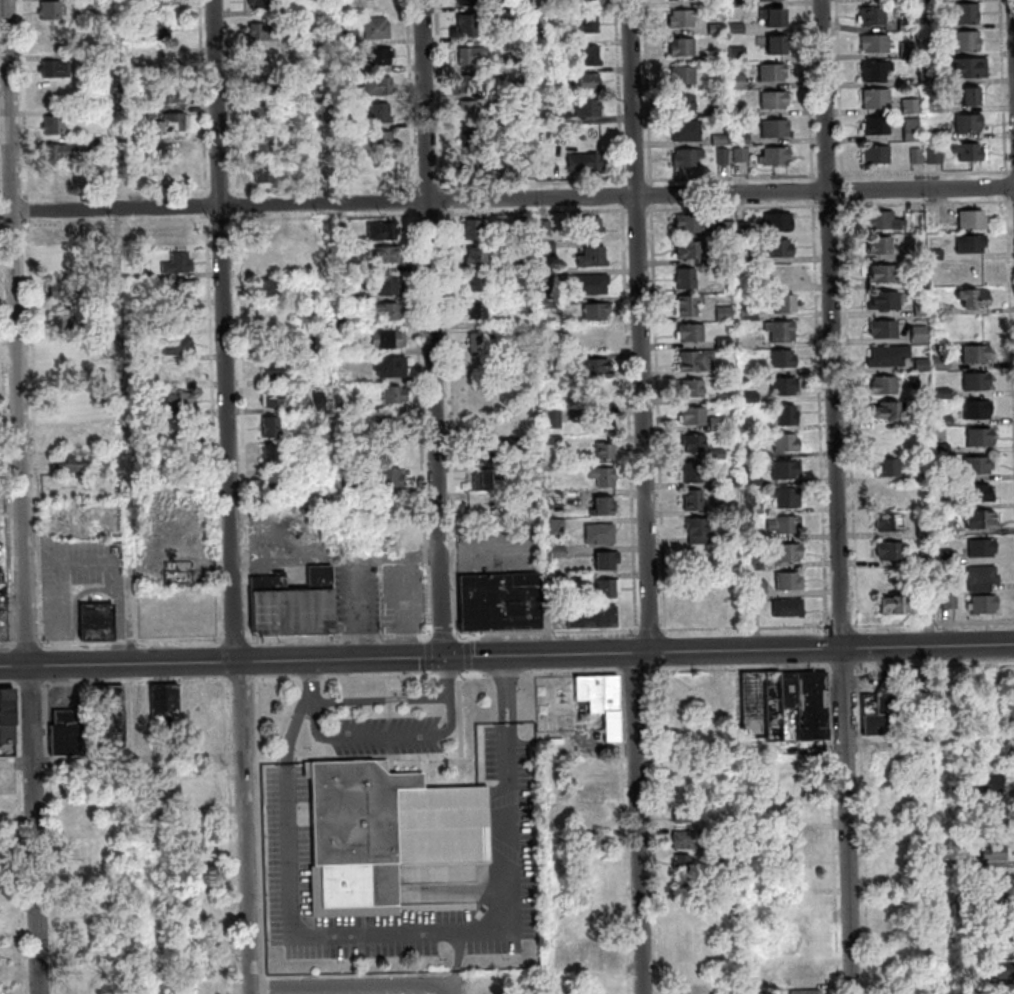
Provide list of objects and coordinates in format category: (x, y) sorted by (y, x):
building: (682, 1)
building: (773, 1)
building: (908, 1)
building: (934, 1)
building: (719, 3)
building: (469, 4)
building: (591, 4)
building: (737, 4)
building: (258, 5)
building: (52, 13)
building: (966, 16)
building: (874, 19)
building: (685, 20)
building: (775, 20)
building: (930, 24)
building: (592, 26)
building: (909, 26)
building: (469, 28)
building: (738, 29)
building: (379, 30)
building: (719, 30)
building: (157, 32)
building: (265, 34)
building: (353, 38)
building: (308, 39)
building: (50, 40)
building: (968, 43)
building: (876, 46)
building: (561, 47)
building: (776, 47)
building: (684, 49)
building: (909, 50)
building: (935, 52)
building: (740, 54)
building: (592, 57)
building: (711, 57)
building: (474, 58)
building: (127, 59)
building: (382, 59)
building: (264, 60)
building: (97, 61)
building: (515, 62)
building: (167, 64)
building: (58, 71)
building: (971, 71)
building: (877, 73)
building: (776, 75)
building: (935, 75)
building: (685, 78)
building: (911, 79)
building: (591, 83)
building: (739, 83)
building: (475, 85)
building: (267, 89)
building: (381, 90)
building: (173, 97)
building: (878, 101)
building: (972, 101)
building: (777, 102)
building: (687, 105)
building: (936, 107)
building: (912, 108)
building: (589, 110)
building: (472, 111)
building: (719, 112)
building: (740, 112)
building: (148, 114)
building: (382, 116)
building: (264, 117)
building: (566, 118)
building: (175, 125)
building: (970, 125)
building: (296, 127)
building: (56, 128)
building: (878, 129)
building: (777, 131)
building: (913, 131)
building: (687, 133)
building: (944, 136)
building: (471, 139)
building: (721, 140)
building: (744, 141)
building: (383, 142)
building: (102, 145)
building: (264, 145)
building: (62, 155)
building: (972, 155)
building: (742, 156)
building: (918, 157)
building: (937, 157)
building: (724, 158)
building: (877, 158)
building: (777, 159)
building: (689, 160)
building: (588, 164)
building: (477, 170)
building: (384, 173)
building: (522, 174)
building: (265, 175)
road: (506, 199)
building: (882, 218)
building: (972, 218)
building: (779, 221)
building: (918, 221)
building: (692, 223)
building: (522, 225)
building: (592, 225)
building: (546, 226)
building: (473, 227)
building: (724, 228)
building: (383, 229)
building: (744, 229)
building: (971, 242)
building: (881, 244)
building: (780, 246)
building: (548, 247)
building: (691, 248)
building: (388, 252)
building: (480, 253)
building: (936, 254)
building: (594, 255)
building: (748, 257)
building: (267, 258)
building: (178, 261)
building: (520, 261)
building: (68, 264)
building: (343, 267)
building: (314, 268)
building: (145, 272)
building: (884, 272)
building: (686, 277)
building: (549, 278)
building: (477, 281)
building: (592, 282)
building: (391, 284)
building: (268, 286)
building: (181, 287)
building: (64, 290)
building: (312, 294)
building: (974, 295)
building: (888, 299)
building: (550, 302)
building: (786, 304)
building: (688, 305)
building: (305, 308)
building: (478, 308)
building: (937, 308)
building: (390, 309)
building: (597, 309)
building: (921, 309)
building: (94, 312)
building: (724, 313)
building: (750, 314)
building: (345, 322)
building: (66, 324)
road: (641, 326)
road: (436, 328)
building: (885, 328)
building: (782, 331)
building: (691, 332)
building: (920, 334)
building: (385, 337)
building: (592, 338)
building: (94, 339)
building: (481, 340)
building: (302, 341)
building: (724, 342)
building: (179, 343)
building: (65, 349)
building: (349, 349)
building: (976, 353)
building: (889, 354)
building: (783, 358)
building: (697, 359)
building: (941, 363)
building: (923, 364)
building: (392, 365)
building: (110, 367)
building: (596, 367)
building: (278, 368)
building: (178, 373)
building: (63, 378)
building: (977, 380)
building: (885, 384)
building: (784, 385)
building: (694, 389)
building: (395, 392)
building: (944, 393)
building: (96, 396)
building: (275, 397)
building: (752, 397)
building: (181, 398)
building: (725, 398)
building: (316, 401)
building: (347, 403)
building: (65, 404)
building: (140, 408)
building: (887, 408)
building: (977, 409)
building: (694, 415)
building: (788, 415)
building: (554, 417)
building: (946, 421)
building: (603, 422)
building: (389, 423)
building: (718, 425)
building: (271, 426)
building: (348, 432)
road: (36, 435)
building: (980, 436)
building: (555, 440)
building: (515, 441)
building: (696, 443)
building: (787, 443)
building: (943, 448)
building: (605, 449)
building: (273, 453)
building: (485, 453)
building: (753, 453)
building: (718, 454)
building: (71, 461)
building: (977, 464)
building: (889, 466)
building: (923, 468)
building: (528, 469)
building: (786, 469)
building: (692, 471)
building: (604, 475)
building: (948, 475)
building: (390, 476)
building: (487, 476)
building: (275, 481)
building: (754, 481)
building: (728, 482)
building: (350, 487)
building: (978, 492)
building: (887, 494)
road: (22, 497)
road: (232, 497)
road: (839, 497)
building: (556, 498)
building: (786, 498)
building: (693, 499)
building: (604, 503)
building: (944, 503)
building: (757, 509)
building: (981, 518)
building: (889, 521)
building: (785, 524)
building: (558, 526)
building: (698, 529)
building: (925, 529)
building: (945, 530)
building: (382, 531)
building: (601, 532)
building: (756, 536)
building: (982, 546)
building: (891, 550)
building: (559, 551)
building: (788, 553)
building: (947, 556)
building: (928, 558)
building: (608, 559)
building: (756, 563)
building: (180, 570)
building: (982, 578)
building: (561, 580)
building: (790, 581)
building: (608, 586)
building: (758, 588)
building: (950, 600)
building: (501, 601)
building: (895, 603)
building: (985, 603)
building: (295, 604)
building: (788, 606)
building: (593, 615)
building: (99, 620)
road: (734, 628)
road: (444, 634)
road: (340, 637)
road: (235, 639)
road: (133, 641)
road: (30, 644)
road: (8, 645)
road: (507, 656)
traffic signals: (445, 658)
road: (935, 666)
road: (845, 668)
road: (740, 670)
road: (633, 672)
road: (437, 676)
road: (447, 678)
road: (243, 681)
road: (314, 681)
road: (137, 682)
building: (914, 684)
road: (9, 685)
road: (32, 685)
road: (381, 700)
building: (602, 700)
building: (145, 702)
building: (758, 702)
building: (808, 703)
building: (167, 705)
building: (113, 706)
building: (1010, 712)
building: (132, 713)
building: (882, 713)
building: (7, 714)
road: (19, 723)
road: (296, 728)
building: (1011, 731)
building: (68, 734)
parking lot: (388, 736)
road: (385, 737)
road: (229, 738)
building: (105, 744)
road: (886, 744)
road: (620, 747)
building: (8, 753)
road: (122, 760)
building: (589, 767)
building: (990, 783)
building: (960, 791)
building: (592, 794)
road: (239, 795)
building: (198, 799)
building: (685, 813)
building: (592, 818)
road: (638, 823)
parking lot: (289, 826)
road: (262, 830)
road: (865, 830)
building: (385, 831)
road: (834, 831)
road: (656, 833)
building: (901, 838)
building: (689, 839)
building: (595, 842)
building: (732, 842)
building: (995, 853)
building: (959, 859)
building: (593, 860)
building: (723, 861)
building: (683, 863)
road: (626, 870)
road: (456, 875)
building: (688, 883)
building: (995, 900)
building: (962, 909)
road: (454, 932)
building: (896, 939)
building: (1000, 947)
building: (595, 954)
road: (459, 959)
building: (1001, 971)
road: (267, 986)
road: (354, 990)
road: (455, 990)
building: (807, 992)

